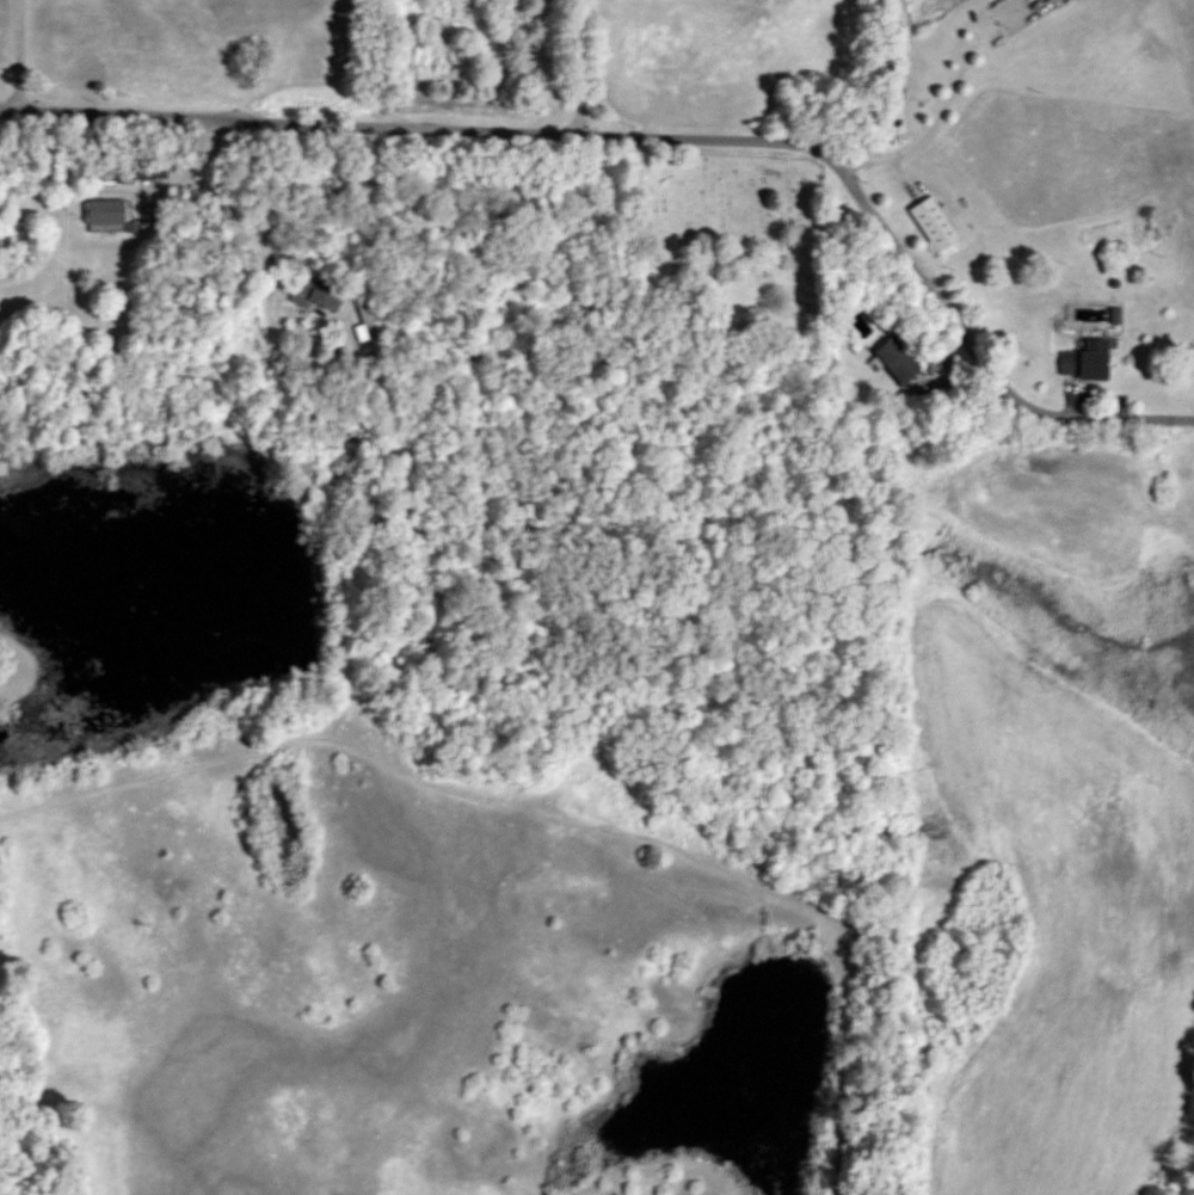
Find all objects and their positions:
building: (1069, 0)
road: (19, 55)
road: (579, 68)
road: (942, 105)
road: (660, 138)
building: (147, 172)
road: (156, 189)
road: (57, 205)
building: (104, 211)
road: (236, 214)
building: (933, 223)
park: (725, 238)
building: (313, 297)
building: (365, 322)
building: (897, 361)
building: (1085, 361)

